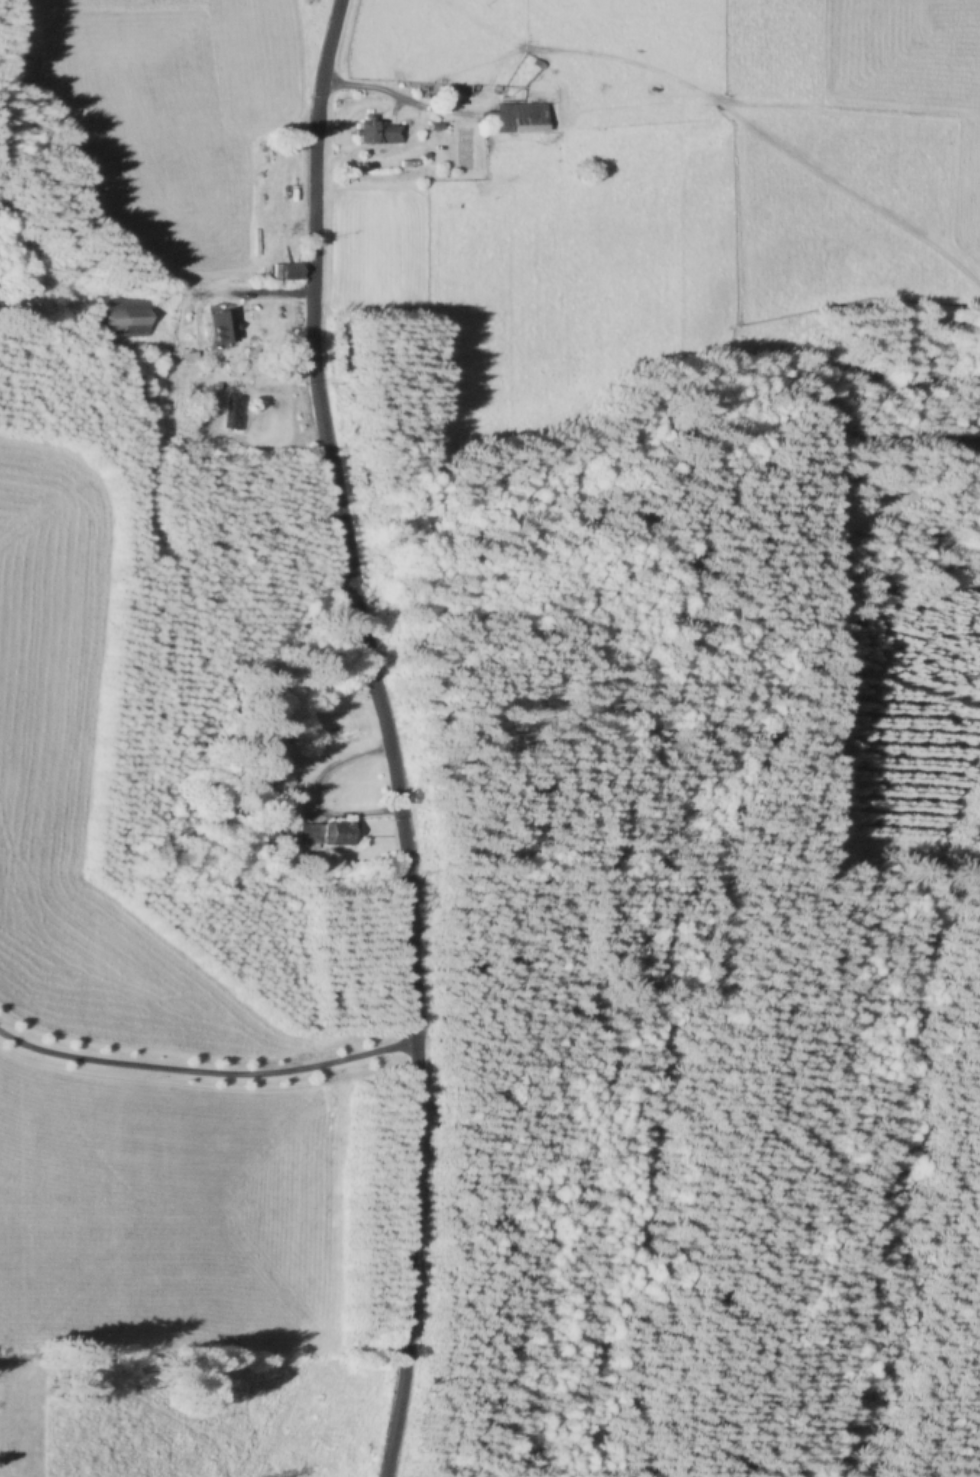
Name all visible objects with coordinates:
building: (513, 119)
building: (373, 133)
building: (123, 318)
building: (219, 329)
building: (139, 393)
building: (233, 413)
road: (383, 735)
building: (326, 835)
road: (204, 1066)

